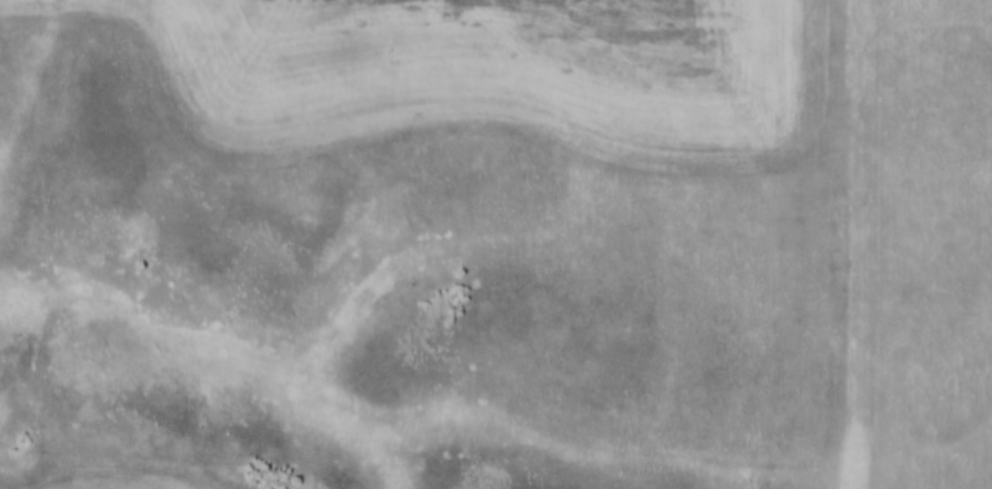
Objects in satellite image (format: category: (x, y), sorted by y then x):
park: (920, 244)

